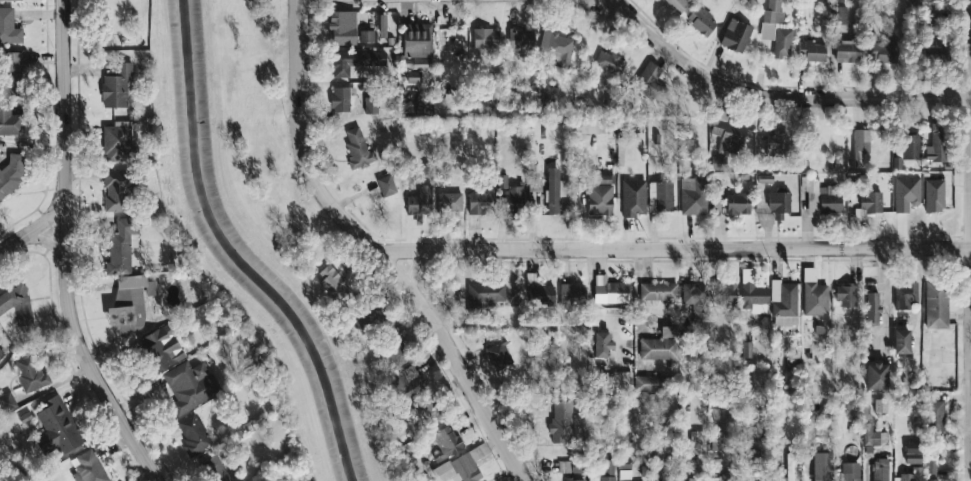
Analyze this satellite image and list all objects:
building: (9, 0)
building: (912, 1)
road: (599, 2)
building: (675, 4)
building: (837, 14)
building: (698, 21)
building: (380, 26)
building: (7, 27)
building: (340, 27)
building: (774, 29)
building: (734, 35)
building: (365, 36)
building: (482, 38)
building: (518, 39)
building: (414, 40)
building: (930, 45)
building: (554, 48)
building: (809, 50)
building: (843, 50)
building: (880, 51)
building: (351, 61)
building: (608, 62)
building: (420, 64)
building: (10, 74)
building: (412, 76)
building: (114, 86)
road: (774, 97)
building: (338, 99)
building: (368, 105)
building: (9, 122)
building: (726, 134)
building: (114, 141)
building: (934, 143)
building: (772, 144)
building: (857, 144)
building: (809, 146)
building: (909, 146)
building: (355, 149)
building: (10, 173)
building: (384, 185)
building: (114, 190)
building: (551, 190)
building: (904, 193)
building: (508, 194)
building: (932, 195)
building: (598, 196)
building: (657, 196)
building: (690, 196)
building: (631, 197)
building: (818, 197)
building: (418, 200)
building: (868, 201)
building: (447, 202)
building: (477, 203)
building: (735, 204)
building: (776, 204)
road: (32, 226)
road: (970, 236)
road: (969, 240)
road: (42, 241)
road: (970, 246)
building: (119, 247)
road: (672, 248)
road: (374, 249)
road: (65, 251)
river: (239, 254)
road: (415, 268)
building: (325, 281)
building: (606, 291)
building: (569, 292)
building: (656, 292)
building: (722, 293)
building: (750, 293)
building: (482, 294)
building: (539, 294)
building: (690, 294)
building: (844, 295)
building: (903, 295)
road: (885, 300)
building: (934, 302)
building: (127, 303)
building: (782, 303)
building: (15, 304)
road: (591, 305)
building: (870, 307)
building: (366, 311)
building: (0, 335)
building: (0, 335)
building: (899, 342)
building: (599, 343)
building: (658, 345)
building: (158, 348)
building: (745, 350)
building: (393, 352)
building: (0, 354)
building: (497, 355)
building: (790, 361)
building: (27, 372)
building: (873, 376)
building: (613, 381)
building: (402, 382)
building: (645, 383)
building: (187, 386)
building: (6, 402)
building: (426, 414)
building: (933, 415)
building: (560, 422)
building: (54, 427)
building: (191, 434)
building: (874, 437)
building: (446, 440)
building: (695, 442)
building: (713, 443)
building: (910, 452)
building: (567, 466)
building: (85, 467)
building: (458, 467)
building: (789, 467)
building: (928, 467)
building: (622, 468)
building: (212, 469)
building: (601, 470)
building: (877, 470)
building: (848, 471)
building: (665, 478)
building: (717, 478)
building: (571, 479)
building: (906, 479)
building: (932, 480)

